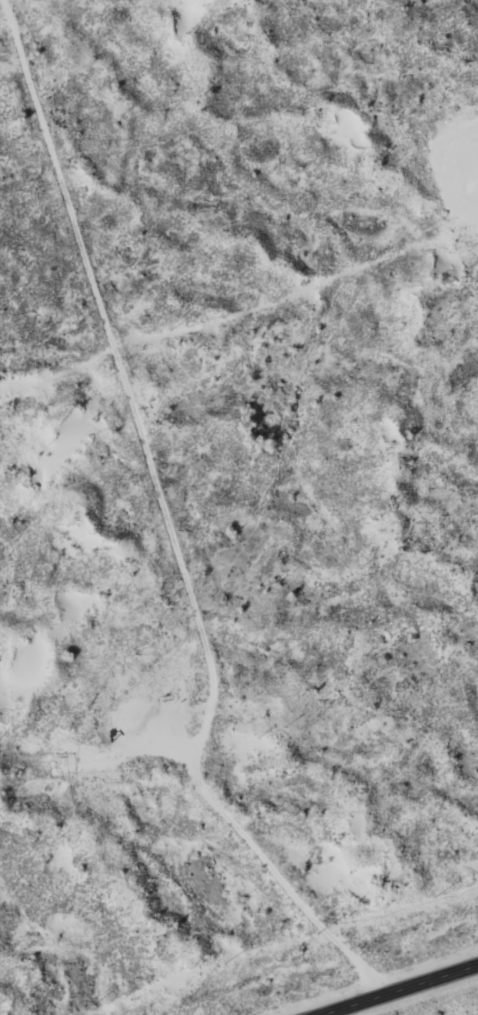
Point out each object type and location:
road: (396, 988)

